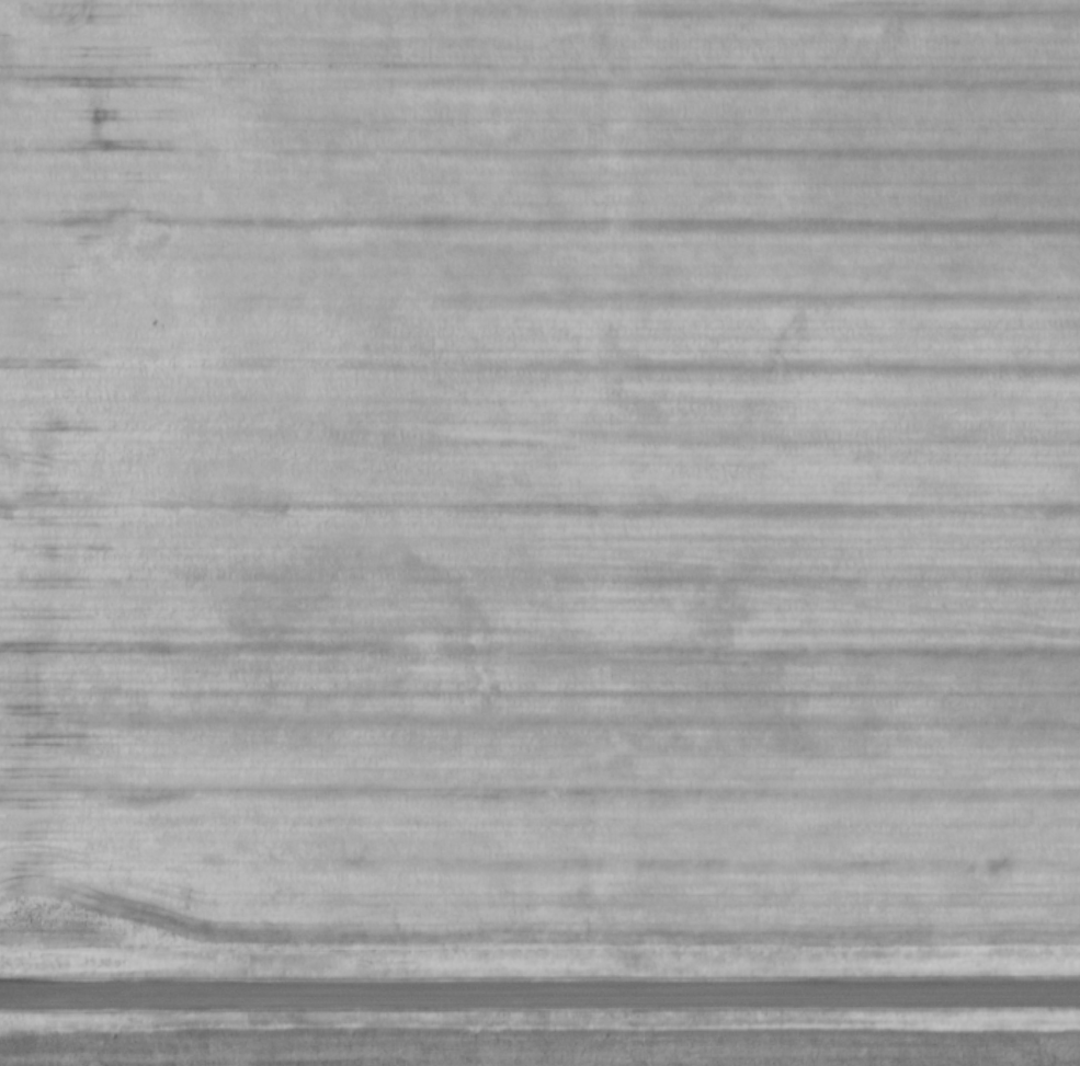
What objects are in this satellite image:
road: (539, 997)

